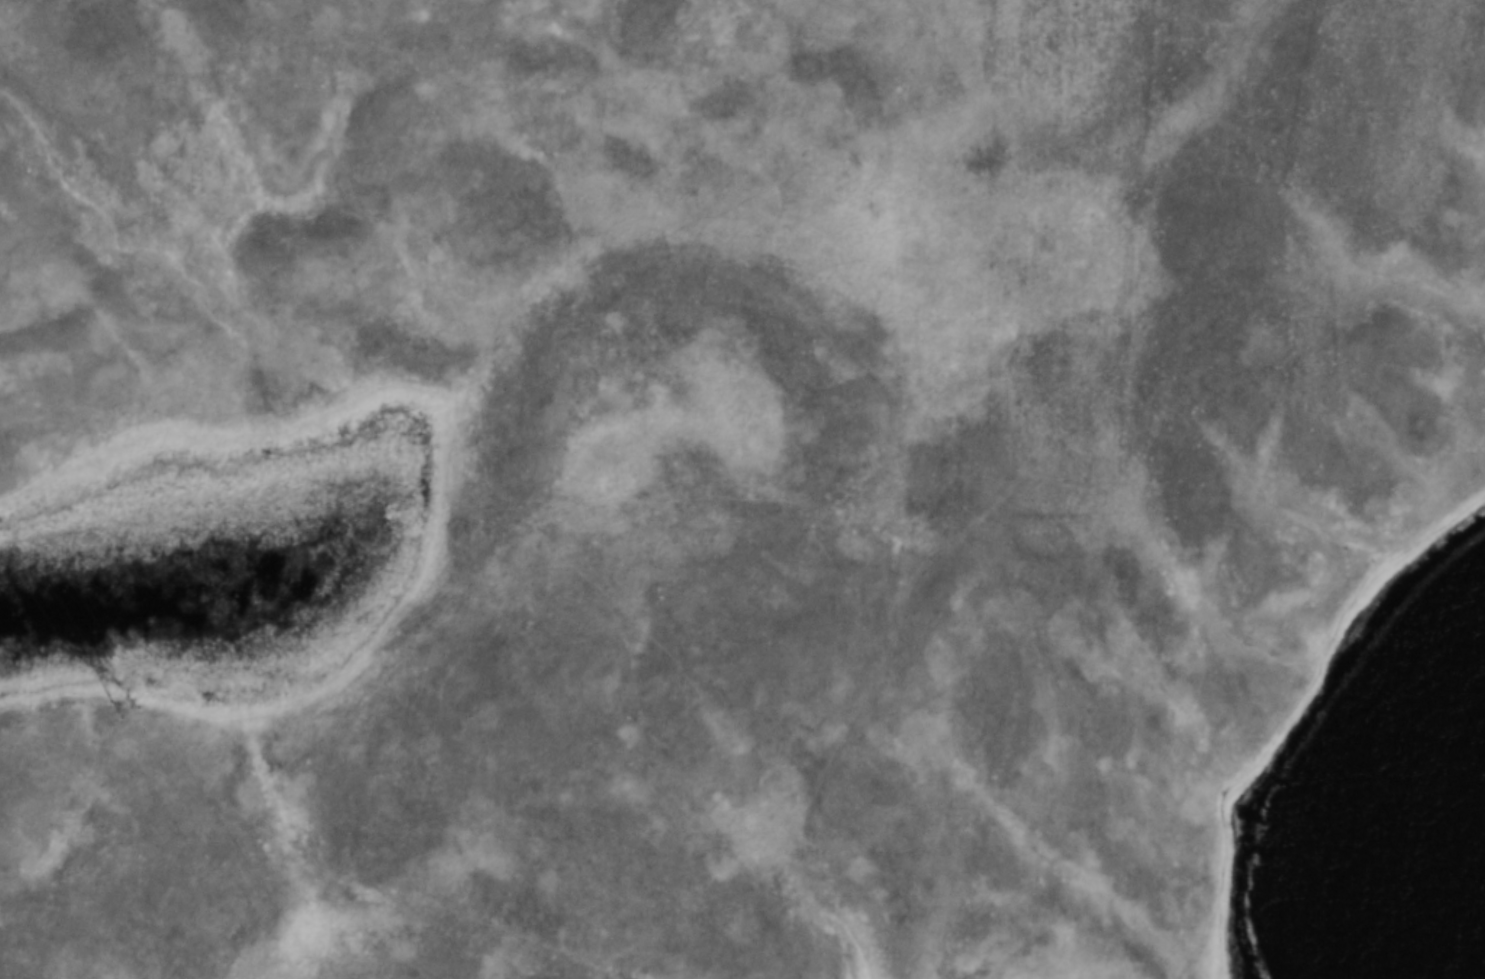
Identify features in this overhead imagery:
power tower: (126, 708)

